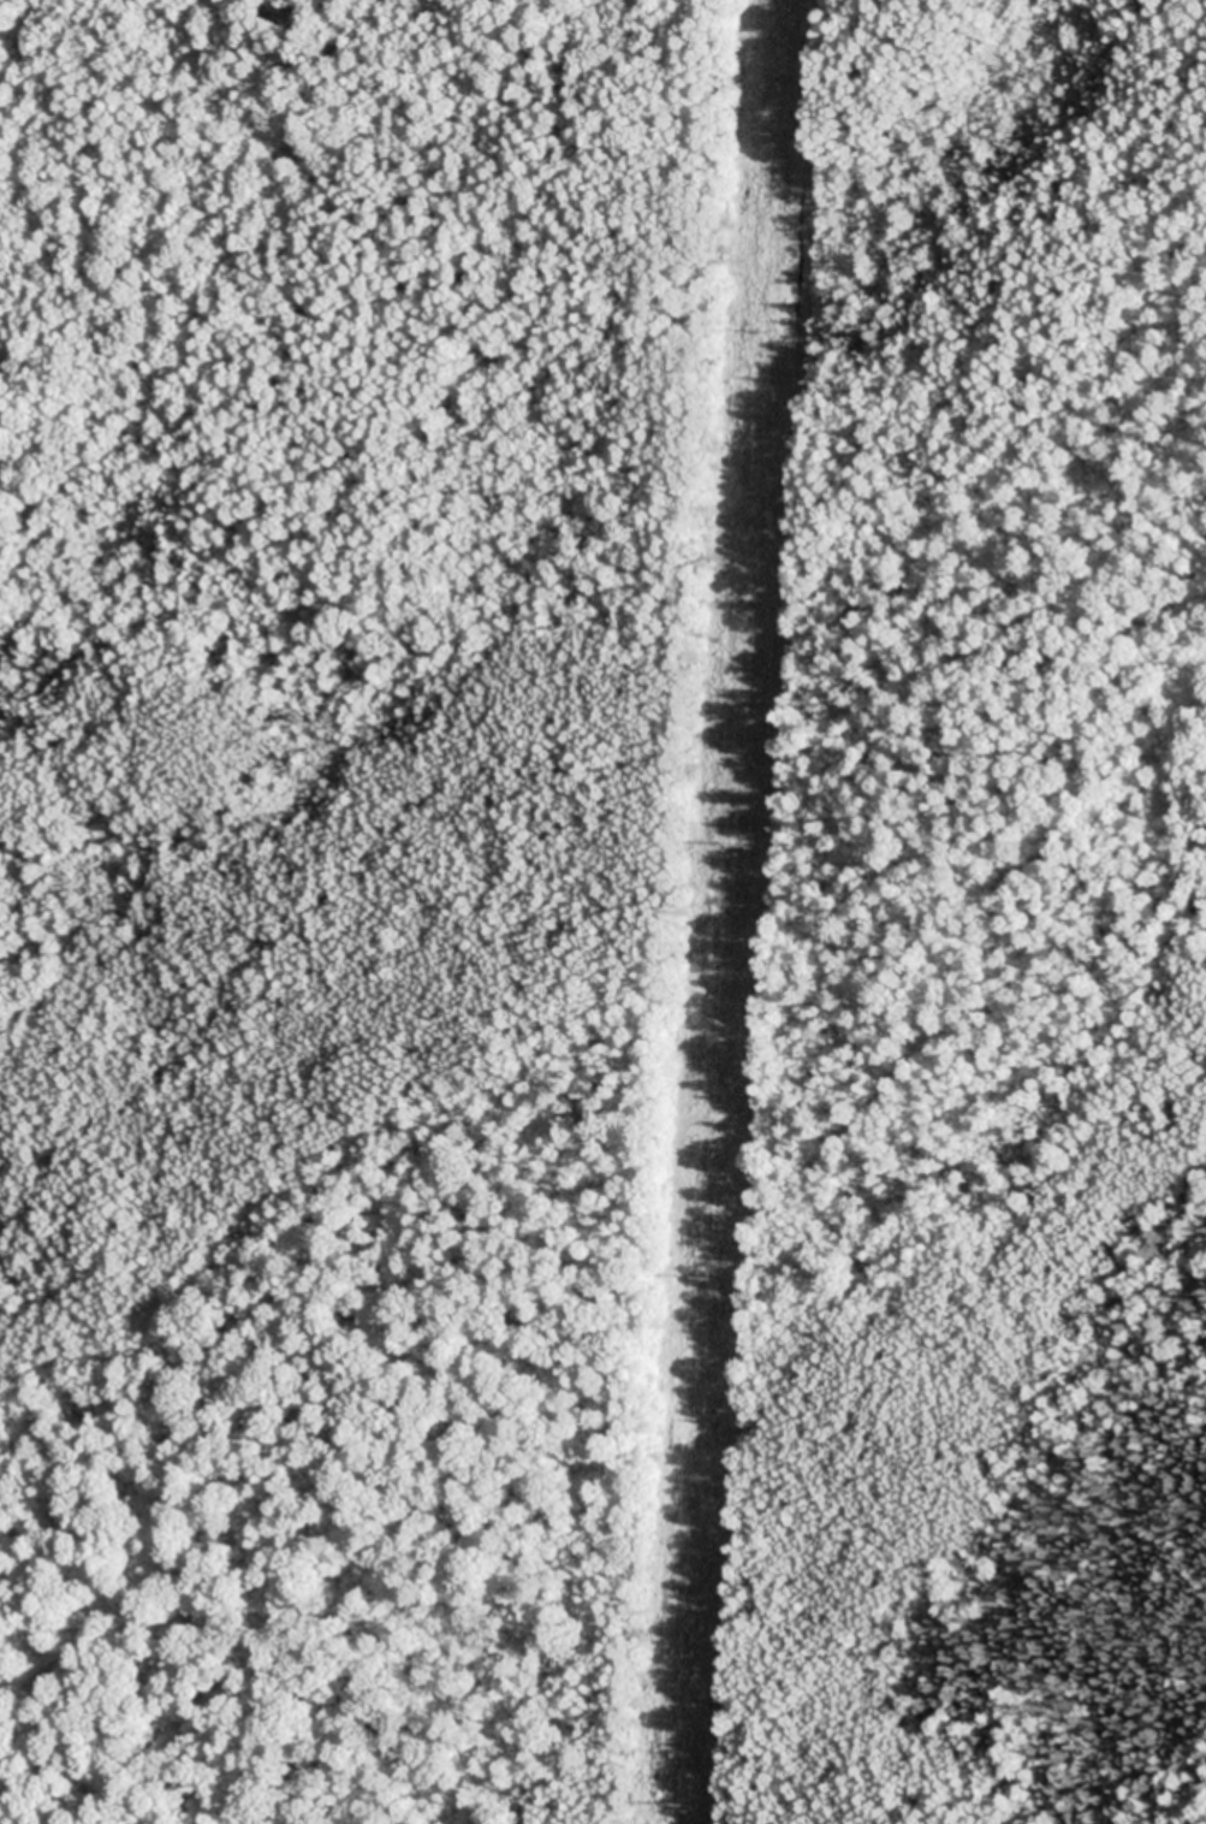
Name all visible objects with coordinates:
power tower: (768, 333)
power tower: (738, 847)
power tower: (714, 1283)
power tower: (683, 1811)

